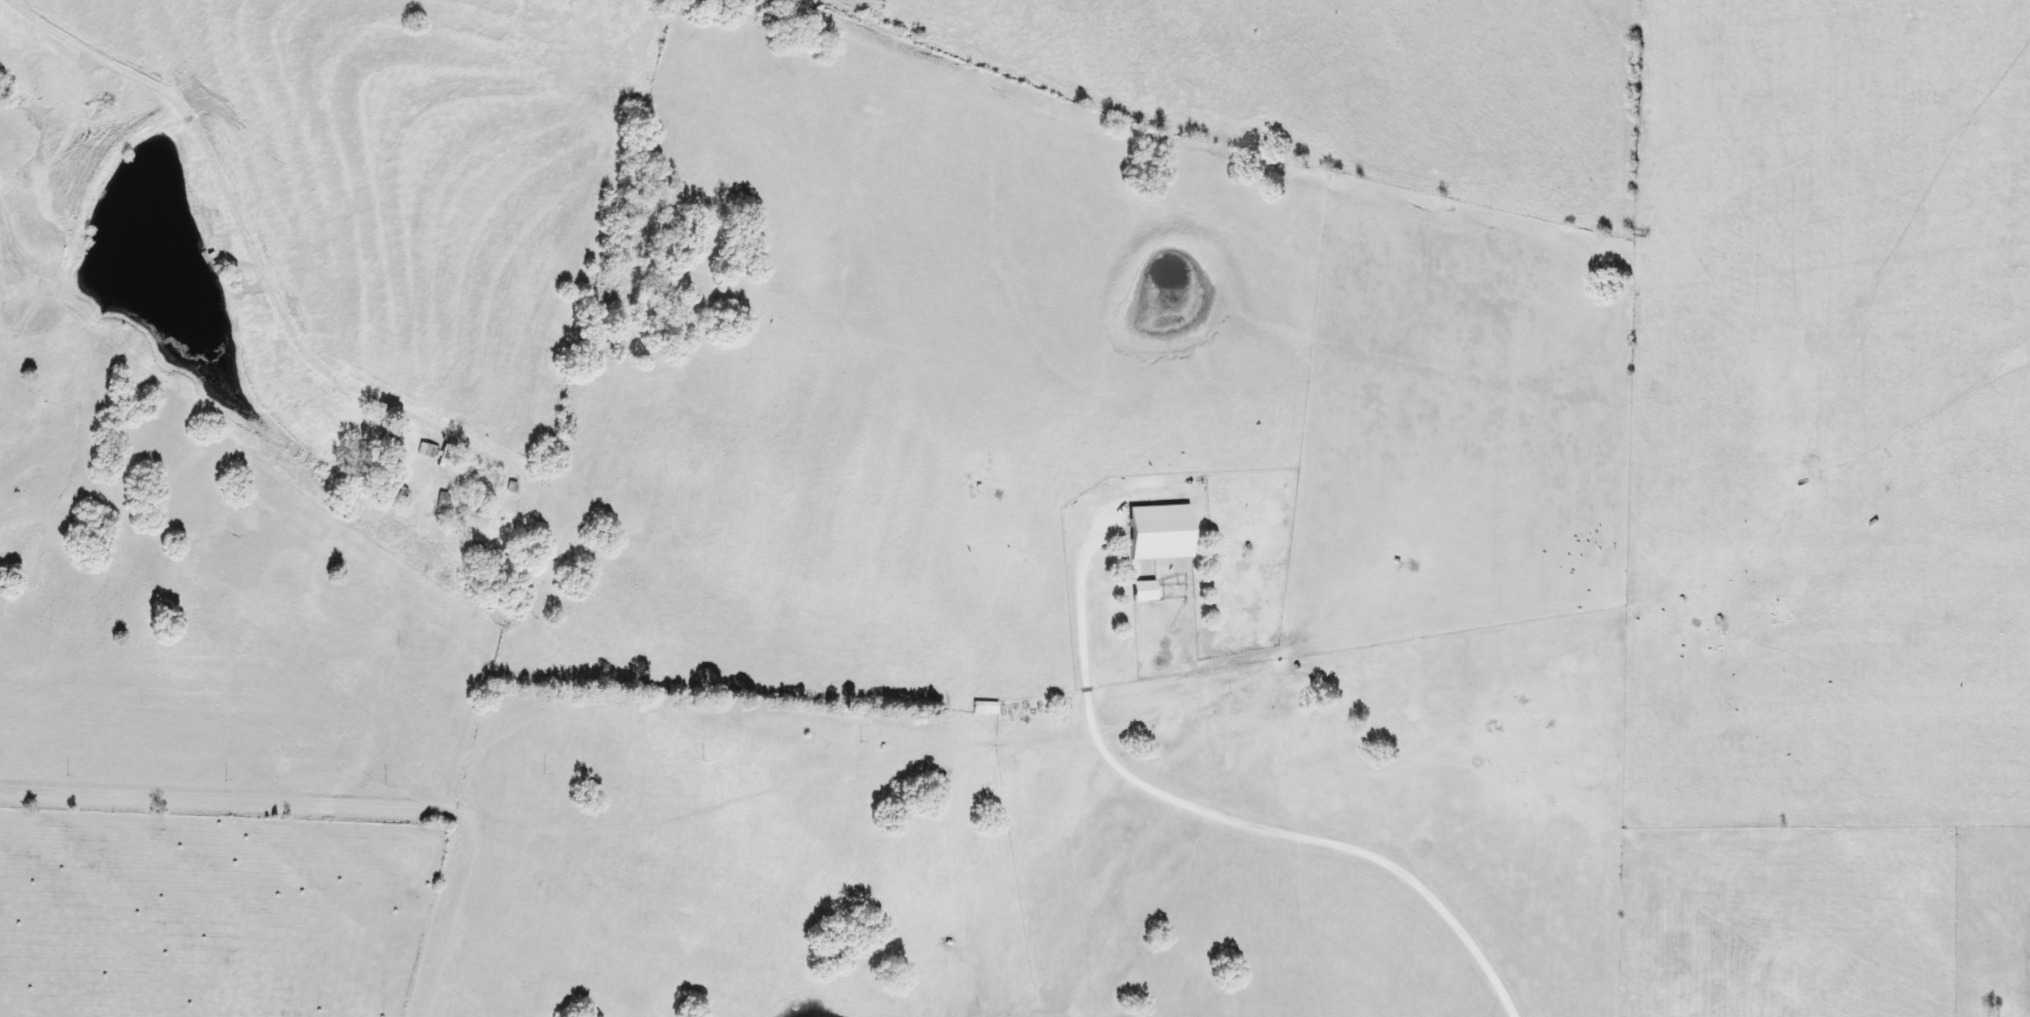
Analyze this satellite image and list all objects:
building: (392, 440)
building: (428, 449)
building: (476, 469)
building: (443, 500)
building: (1163, 531)
road: (1080, 641)
road: (1000, 701)
building: (985, 707)
road: (341, 796)

